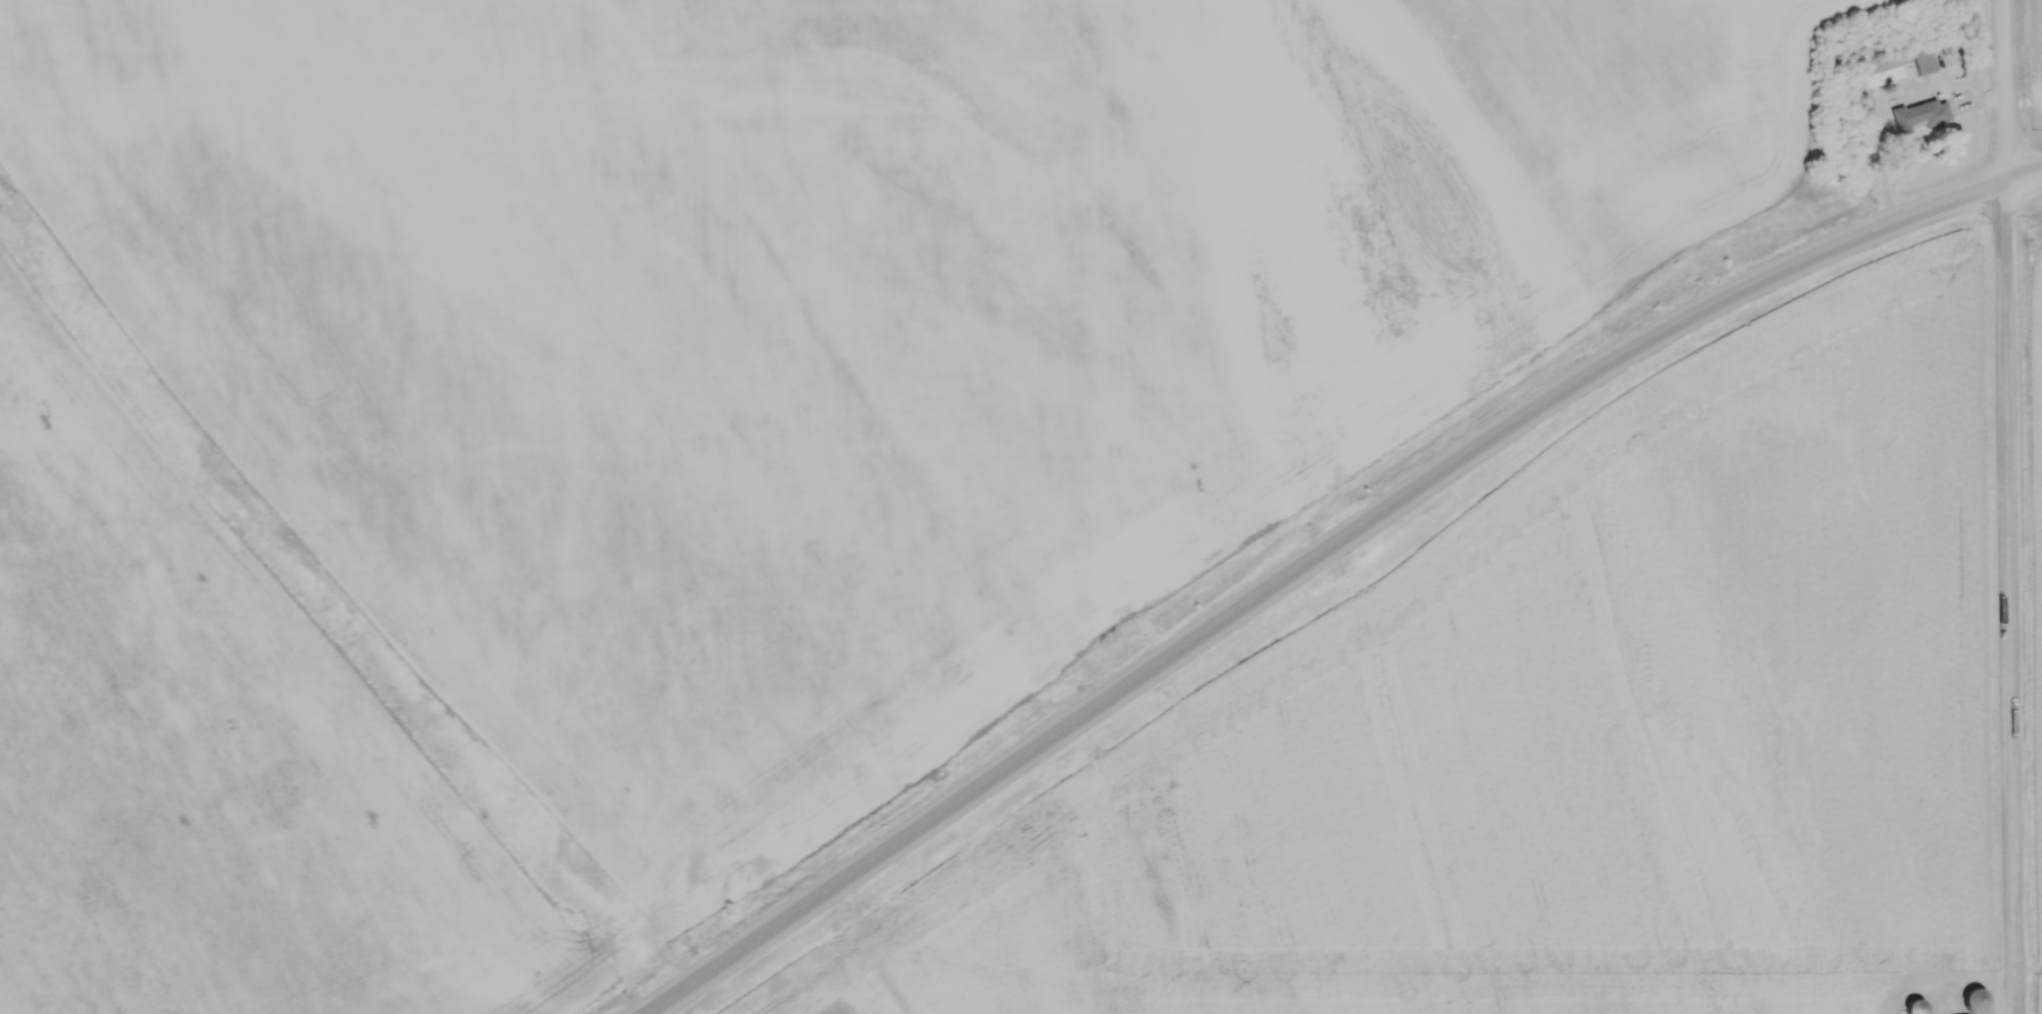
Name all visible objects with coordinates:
road: (2000, 91)
road: (2023, 176)
road: (1306, 563)
road: (2007, 598)
crop: (214, 743)

